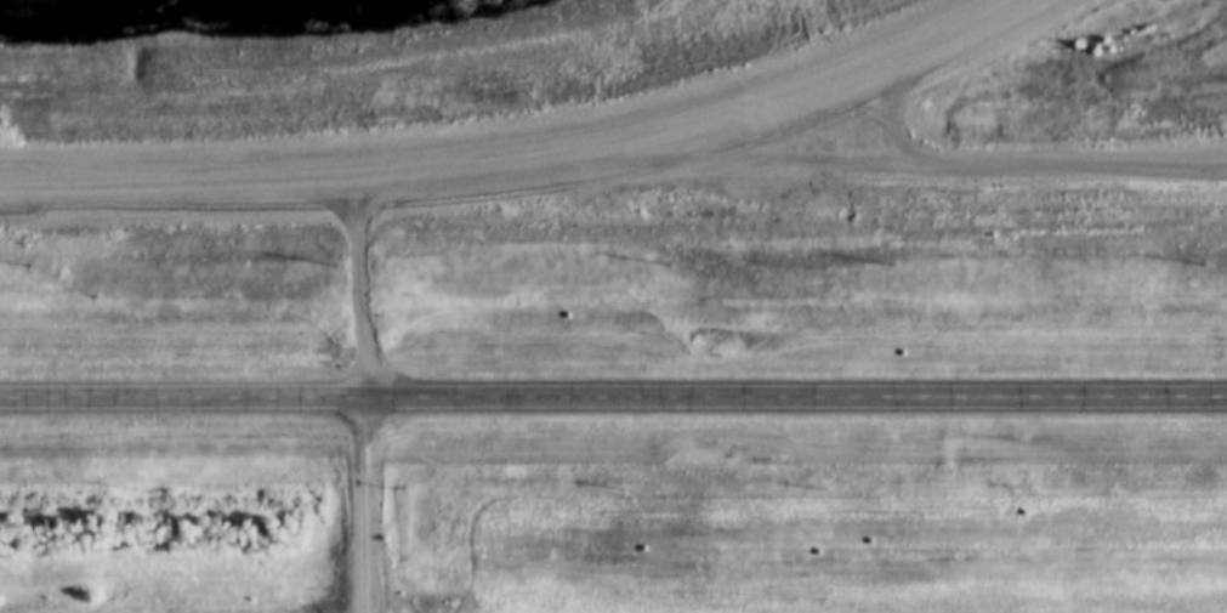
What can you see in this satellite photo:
quarry: (868, 72)
road: (613, 397)
quarry: (543, 598)

